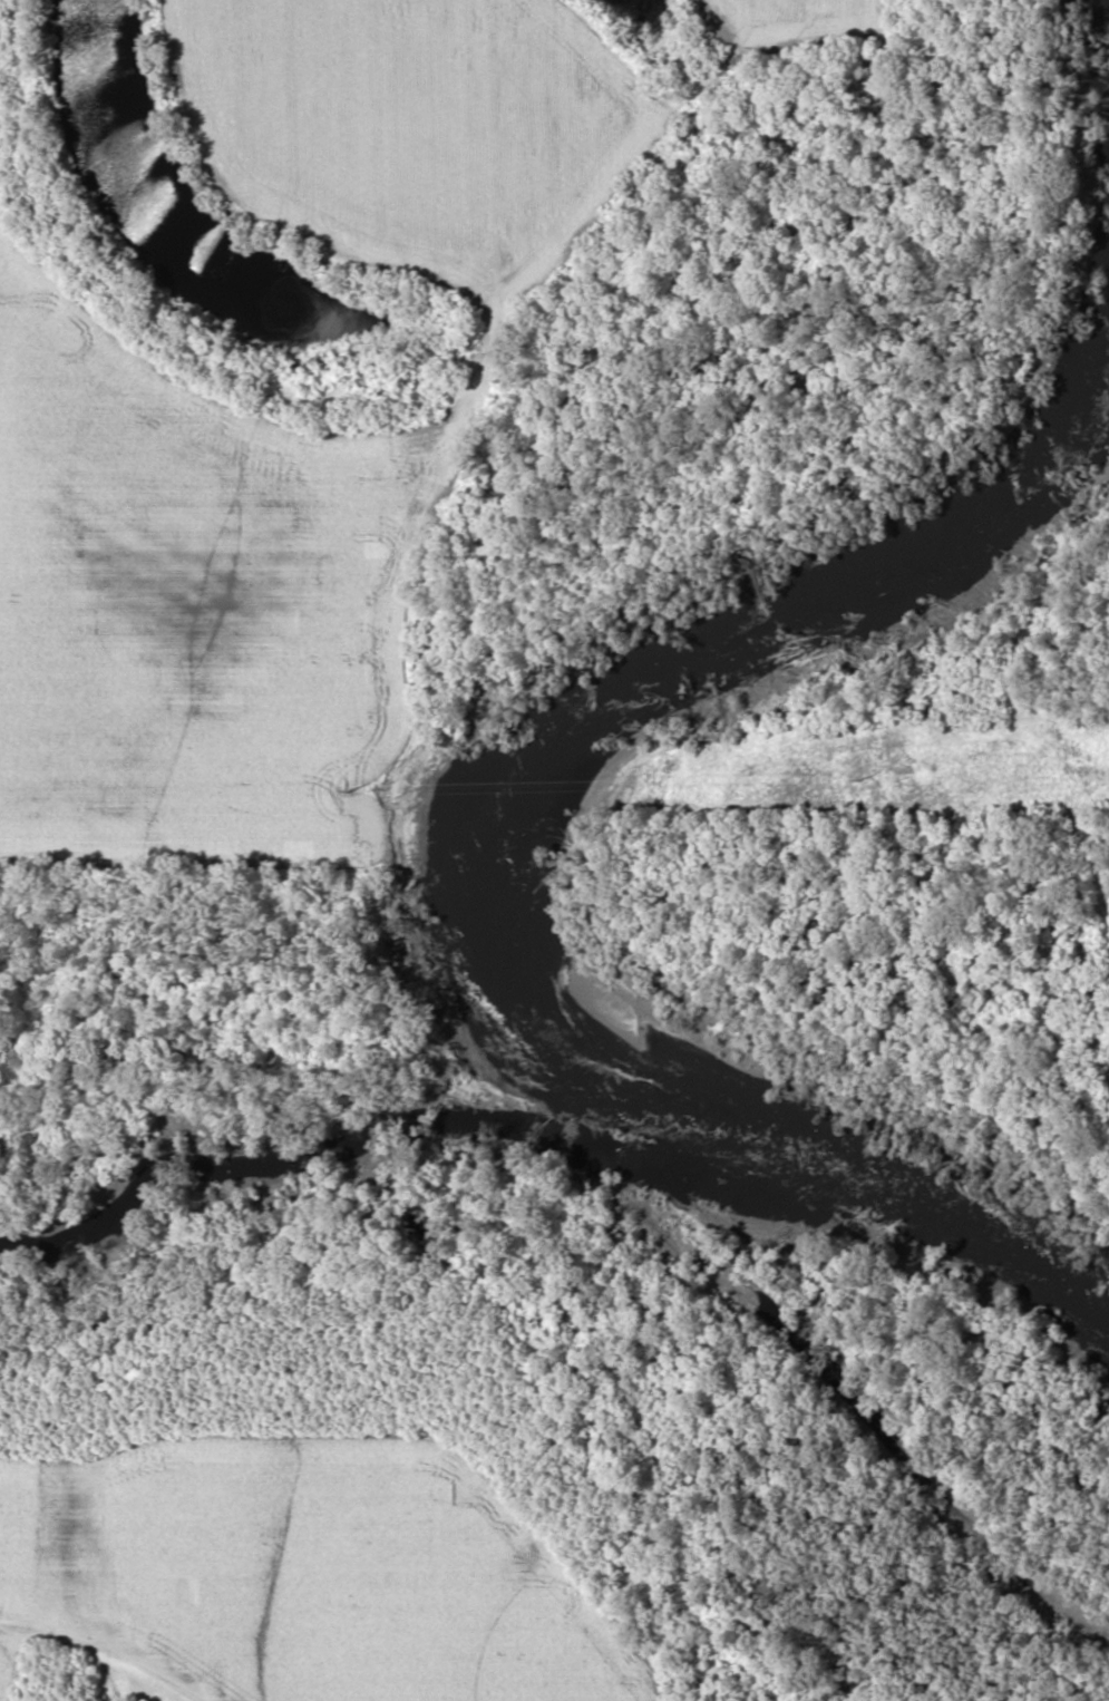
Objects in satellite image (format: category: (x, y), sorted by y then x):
power tower: (1021, 771)
power tower: (343, 787)
river: (507, 855)

